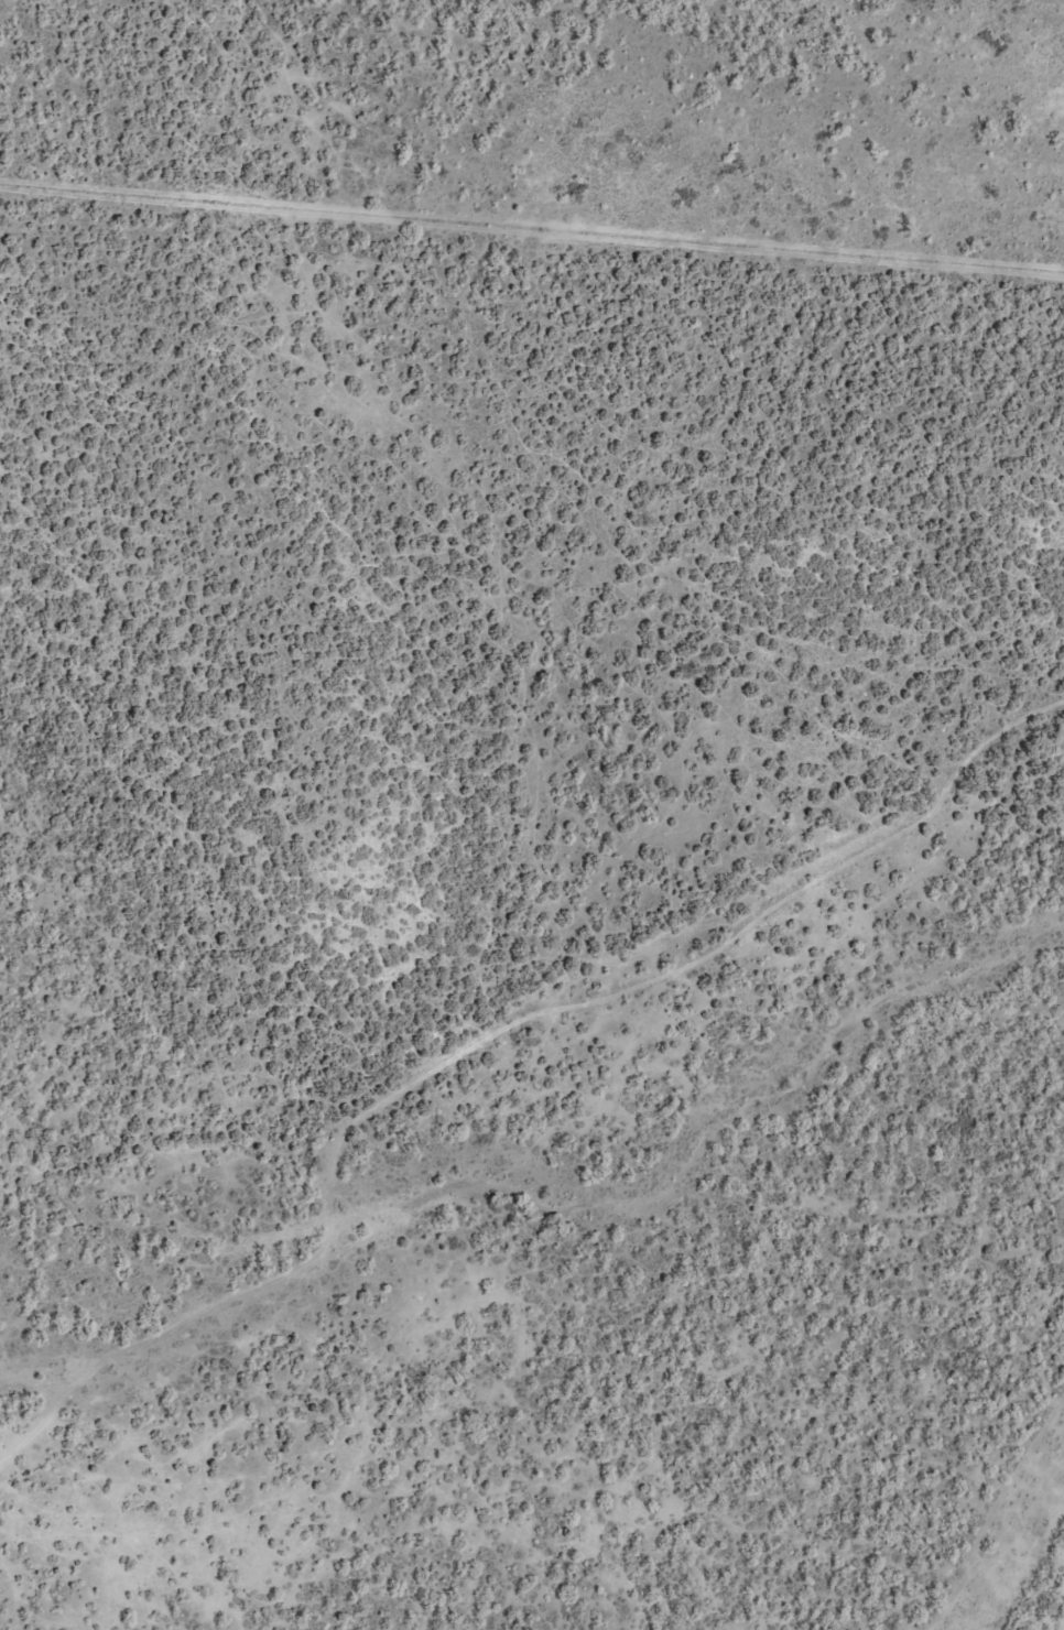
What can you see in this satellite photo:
road: (532, 232)
road: (485, 1037)

